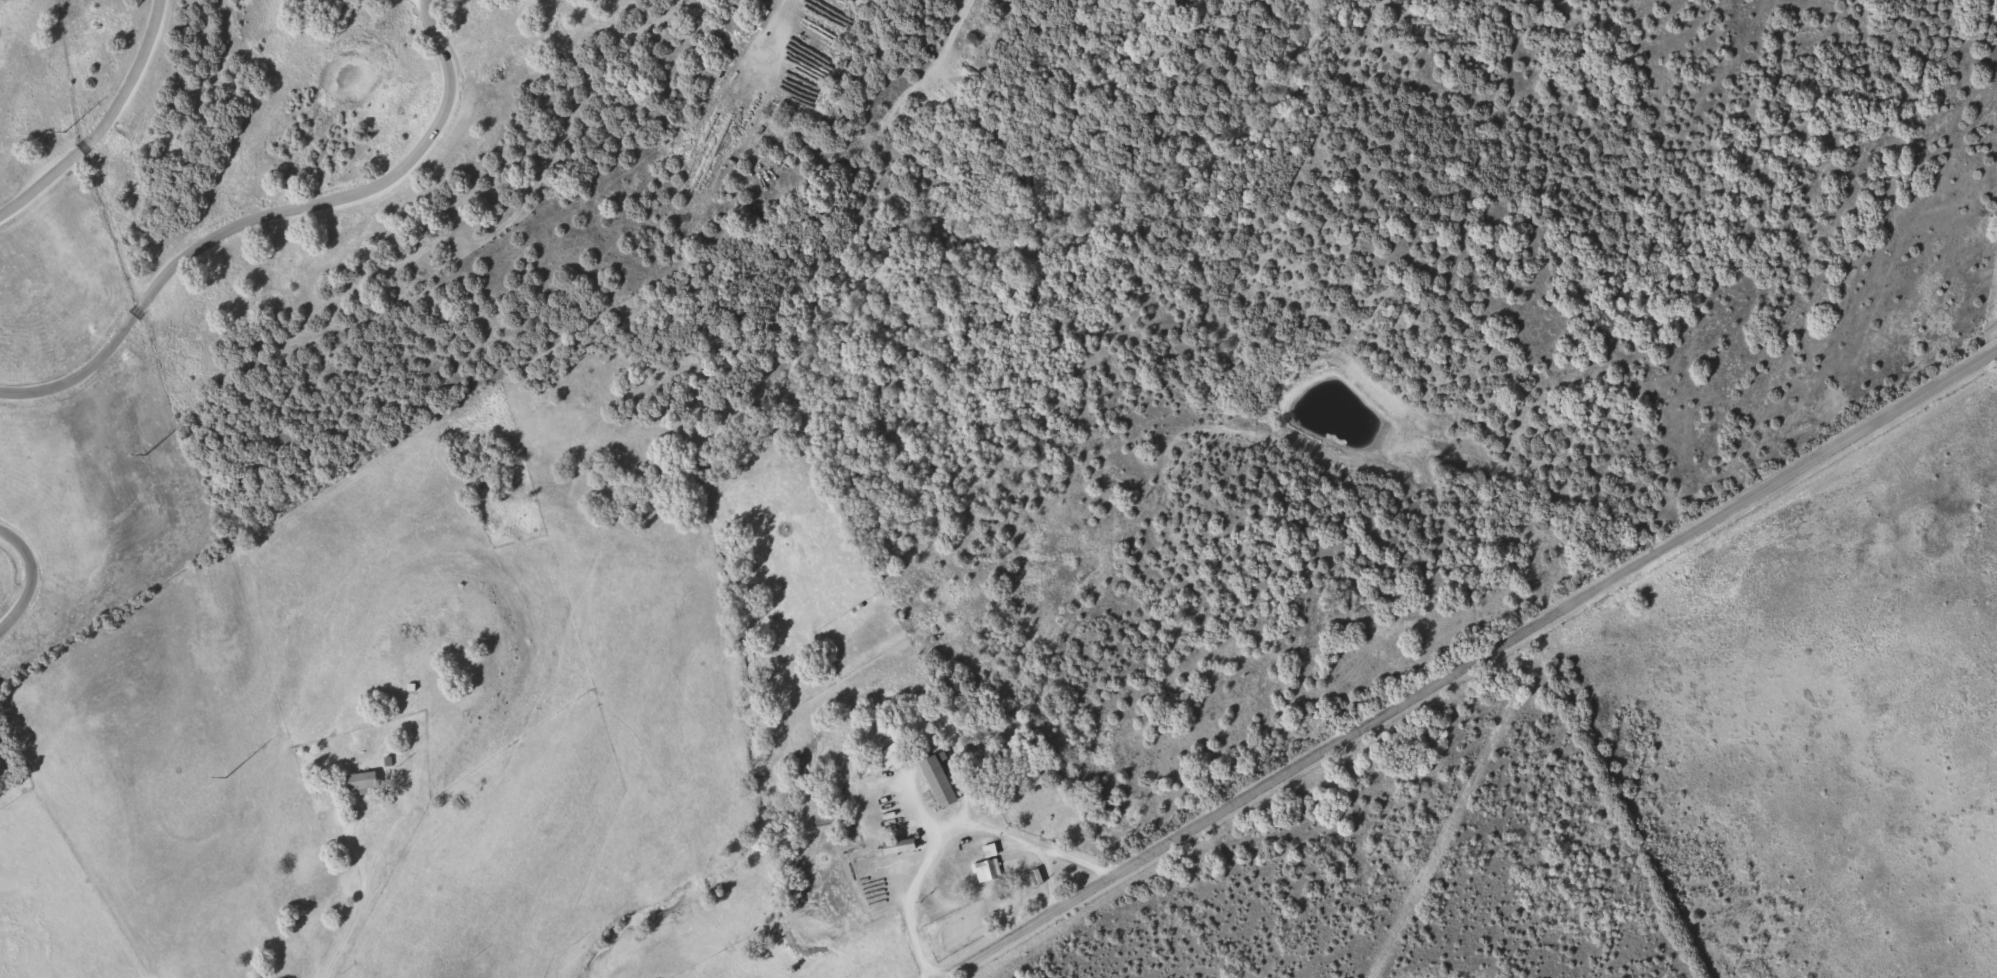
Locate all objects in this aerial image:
road: (954, 40)
road: (95, 123)
road: (259, 213)
road: (32, 569)
road: (1464, 667)
building: (885, 761)
building: (363, 781)
building: (940, 781)
road: (953, 827)
building: (901, 846)
building: (989, 869)
road: (1048, 878)
road: (364, 905)

